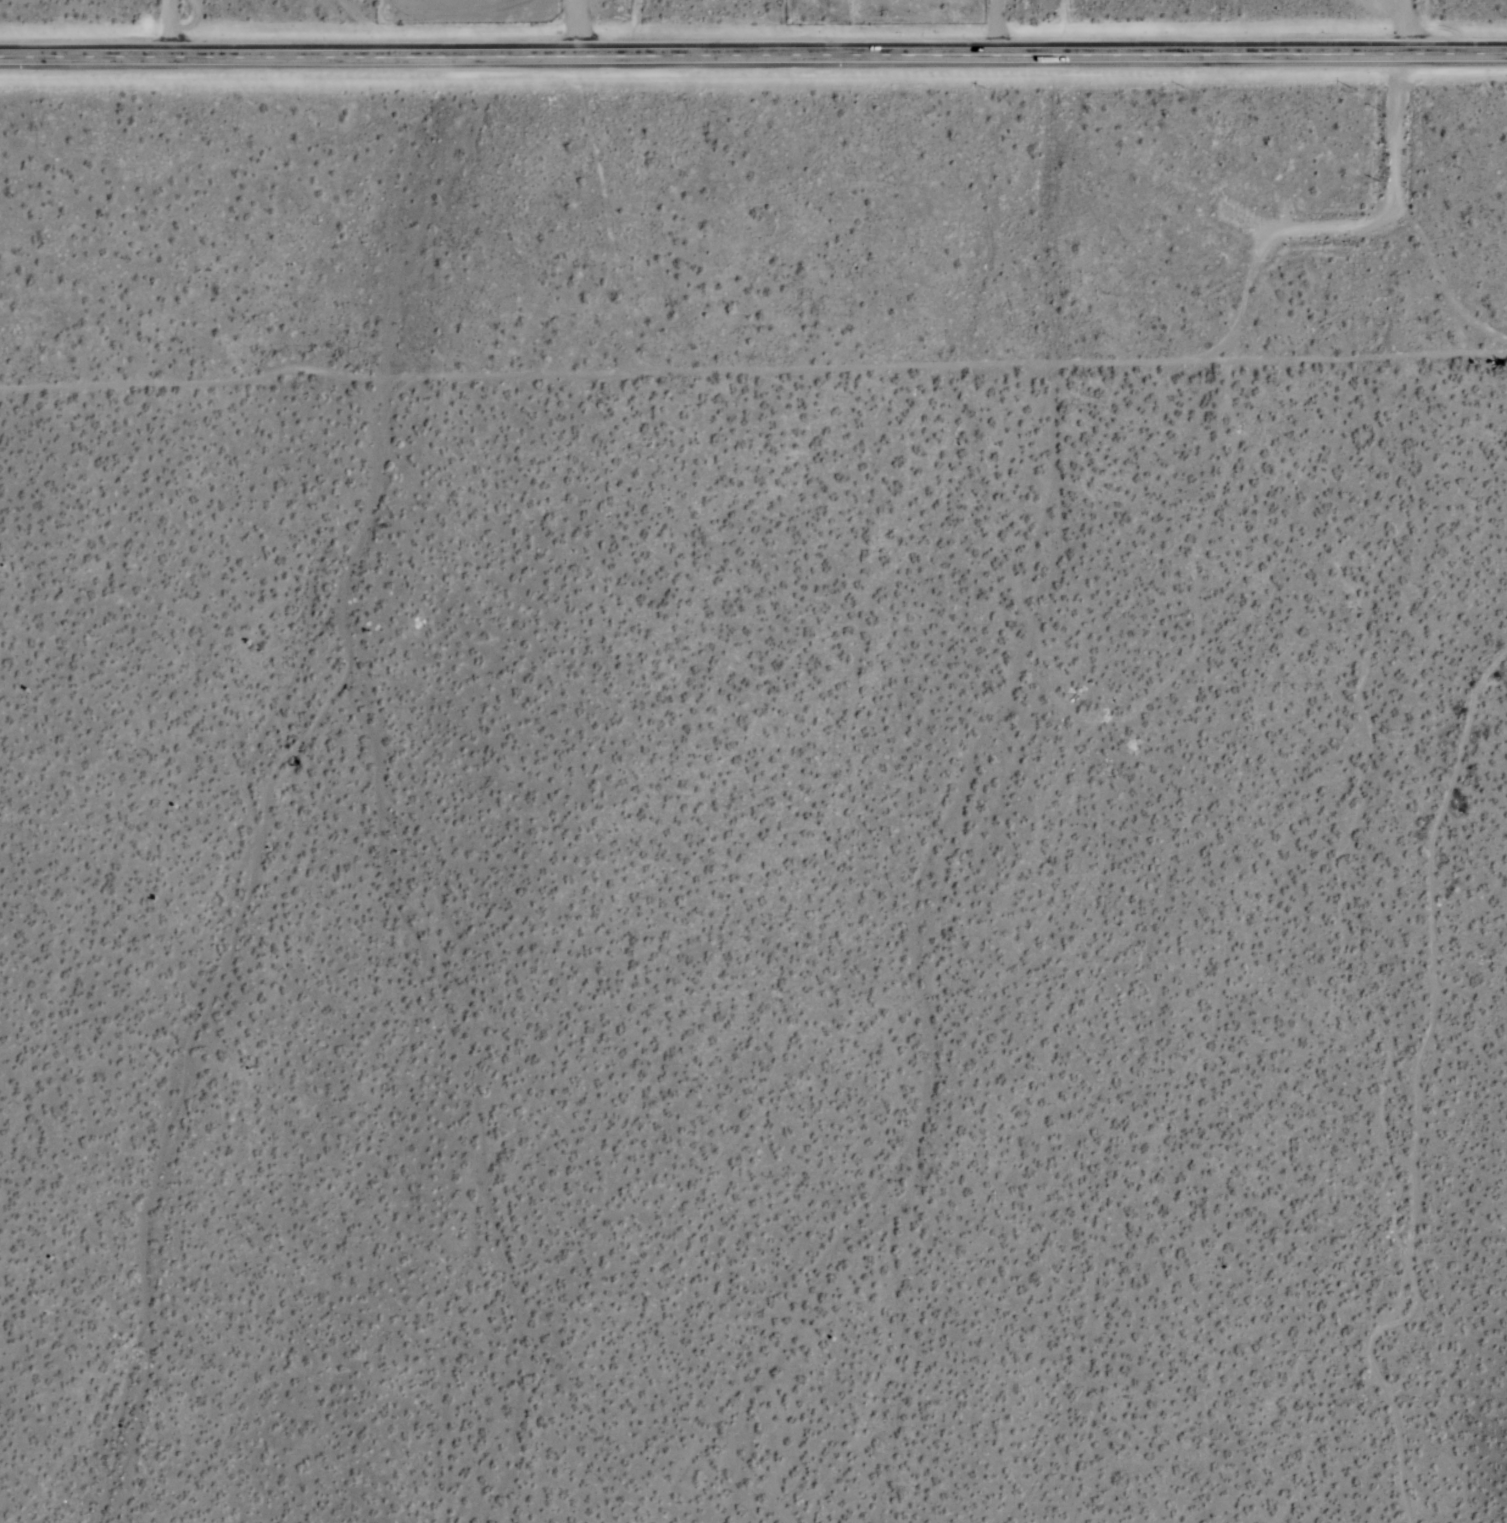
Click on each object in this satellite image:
road: (576, 26)
road: (858, 26)
road: (1405, 26)
road: (168, 28)
road: (454, 28)
road: (753, 53)

